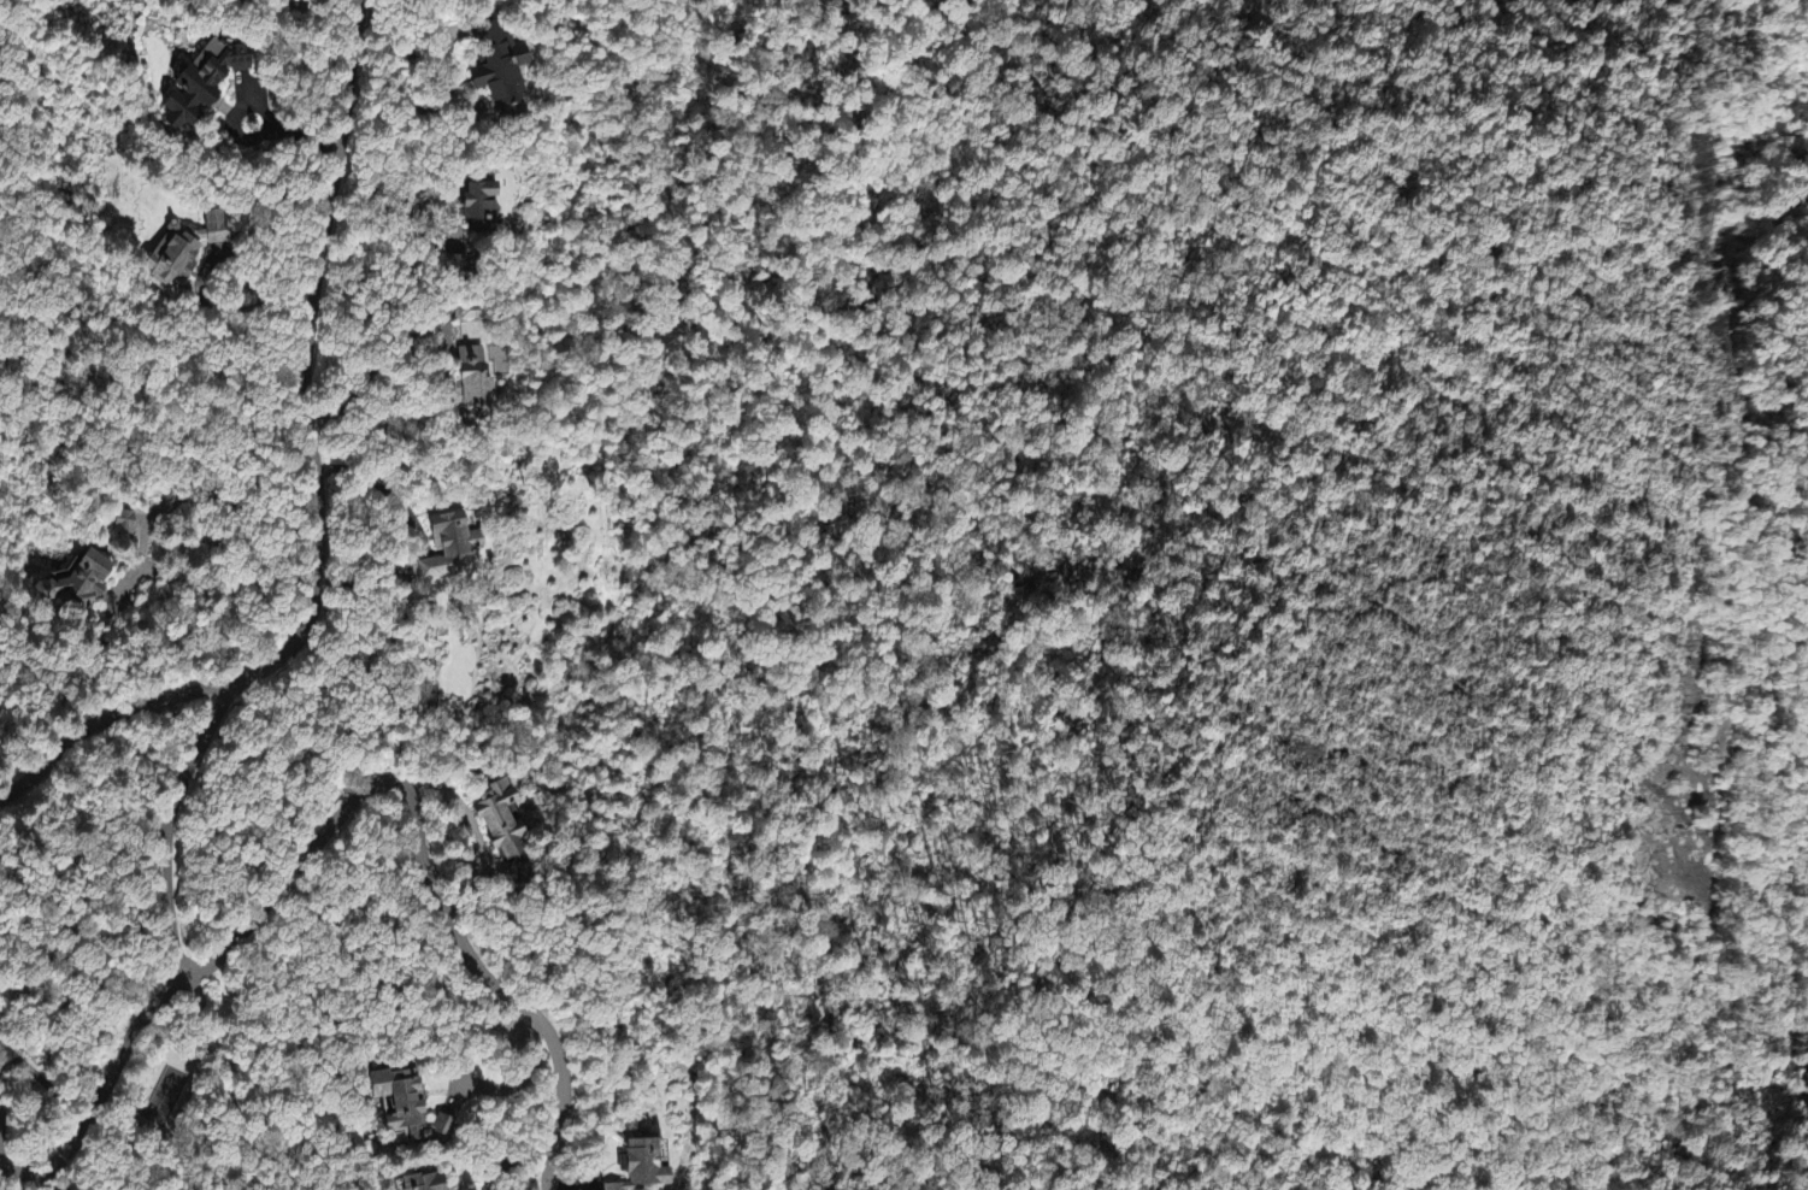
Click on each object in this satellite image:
building: (500, 67)
building: (206, 84)
building: (482, 208)
building: (185, 251)
building: (476, 382)
road: (318, 491)
building: (124, 525)
building: (450, 549)
building: (79, 585)
road: (167, 823)
building: (503, 826)
road: (422, 855)
road: (100, 1092)
building: (407, 1107)
building: (644, 1168)
building: (426, 1183)

